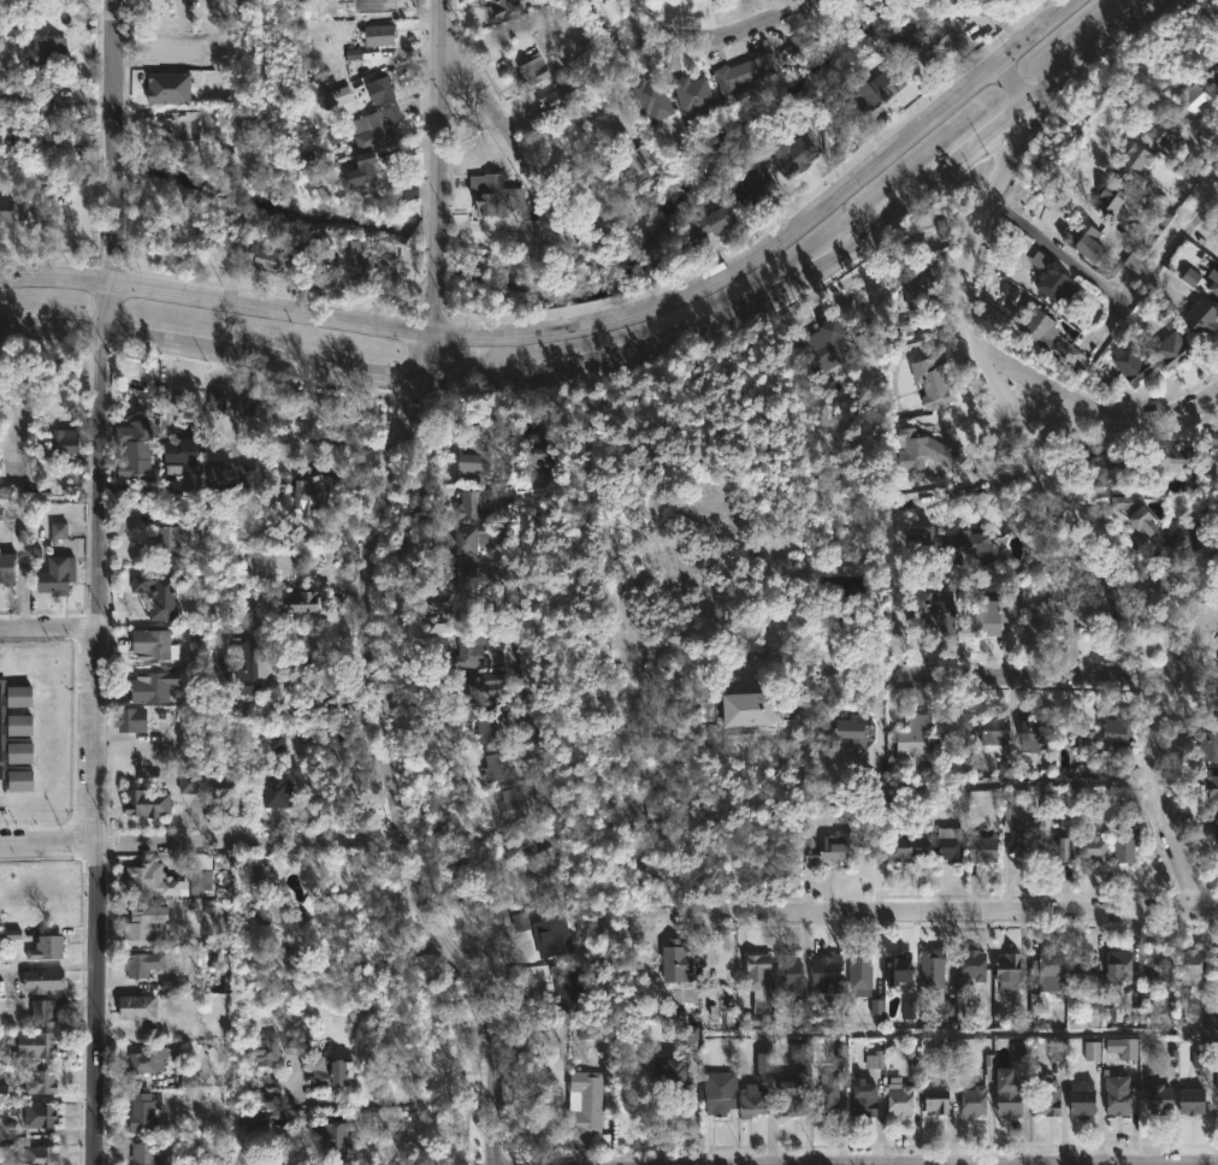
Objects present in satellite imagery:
road: (179, 4)
building: (379, 5)
building: (501, 7)
building: (380, 34)
road: (721, 34)
building: (929, 42)
building: (49, 54)
building: (189, 61)
building: (1212, 69)
building: (532, 70)
building: (741, 75)
road: (1015, 85)
building: (382, 89)
building: (338, 95)
building: (690, 95)
building: (558, 97)
building: (870, 97)
building: (649, 99)
building: (1194, 100)
building: (60, 108)
building: (177, 124)
building: (371, 124)
building: (1159, 134)
building: (1212, 136)
road: (437, 138)
road: (107, 141)
road: (512, 141)
building: (791, 153)
building: (628, 155)
building: (1130, 165)
building: (363, 167)
building: (757, 187)
building: (495, 195)
building: (1108, 201)
building: (7, 209)
building: (720, 223)
road: (785, 236)
building: (1081, 241)
building: (267, 259)
building: (1135, 260)
road: (822, 265)
building: (371, 267)
building: (1050, 277)
building: (1213, 282)
building: (917, 286)
road: (1116, 297)
road: (214, 298)
road: (431, 306)
building: (1200, 315)
building: (915, 324)
building: (1034, 324)
building: (828, 337)
building: (1169, 349)
road: (207, 351)
road: (420, 360)
building: (1124, 366)
road: (1025, 375)
building: (930, 378)
building: (218, 403)
road: (1000, 404)
building: (242, 407)
road: (1149, 410)
building: (67, 440)
building: (1212, 443)
building: (135, 447)
building: (536, 453)
building: (183, 455)
building: (913, 455)
building: (1170, 460)
building: (478, 465)
building: (227, 468)
building: (1108, 468)
road: (1001, 472)
building: (131, 487)
building: (313, 495)
building: (471, 502)
building: (1140, 520)
building: (1210, 527)
building: (1181, 532)
building: (167, 537)
building: (468, 537)
building: (966, 544)
building: (7, 566)
road: (895, 566)
building: (265, 567)
building: (57, 575)
building: (456, 575)
building: (841, 587)
building: (158, 593)
building: (302, 601)
building: (932, 605)
building: (999, 609)
building: (455, 610)
road: (504, 611)
building: (1104, 611)
building: (487, 615)
building: (1050, 617)
road: (47, 628)
building: (150, 644)
building: (467, 650)
building: (248, 669)
road: (1035, 674)
building: (153, 685)
building: (480, 688)
building: (20, 694)
building: (753, 708)
building: (130, 718)
building: (20, 722)
road: (94, 722)
building: (495, 726)
building: (953, 726)
building: (991, 728)
building: (851, 729)
building: (1030, 734)
building: (1113, 734)
building: (911, 737)
building: (1206, 743)
building: (278, 745)
building: (20, 752)
road: (1158, 757)
building: (501, 764)
road: (391, 782)
building: (280, 791)
building: (1211, 791)
building: (233, 798)
building: (149, 803)
building: (513, 803)
building: (1213, 822)
building: (1017, 833)
road: (202, 844)
building: (946, 844)
building: (1058, 845)
building: (900, 846)
building: (1123, 846)
building: (830, 847)
building: (1089, 847)
building: (981, 848)
building: (532, 854)
building: (199, 871)
building: (144, 877)
building: (41, 891)
building: (258, 894)
road: (958, 912)
building: (141, 924)
building: (551, 936)
building: (47, 947)
building: (1216, 957)
building: (678, 962)
building: (1116, 962)
building: (141, 963)
building: (1152, 964)
building: (970, 965)
building: (1005, 966)
building: (1189, 966)
building: (897, 969)
building: (790, 970)
building: (930, 970)
building: (1048, 970)
building: (828, 972)
building: (857, 972)
building: (1082, 975)
building: (42, 980)
building: (761, 981)
building: (569, 990)
road: (237, 1004)
building: (1159, 1006)
building: (138, 1009)
building: (42, 1011)
building: (802, 1011)
road: (976, 1033)
building: (1121, 1046)
building: (31, 1048)
building: (265, 1049)
building: (1018, 1058)
building: (148, 1060)
building: (765, 1066)
building: (335, 1074)
building: (674, 1075)
building: (39, 1082)
building: (833, 1086)
building: (1216, 1090)
building: (721, 1093)
building: (1116, 1095)
building: (901, 1096)
building: (1045, 1096)
building: (1005, 1098)
building: (793, 1099)
building: (867, 1099)
building: (934, 1099)
building: (1080, 1099)
building: (1157, 1099)
building: (971, 1100)
building: (755, 1101)
building: (1189, 1101)
road: (385, 1102)
building: (585, 1102)
building: (143, 1112)
building: (40, 1114)
road: (378, 1117)
building: (331, 1140)
building: (36, 1152)
building: (147, 1154)
road: (1083, 1161)

